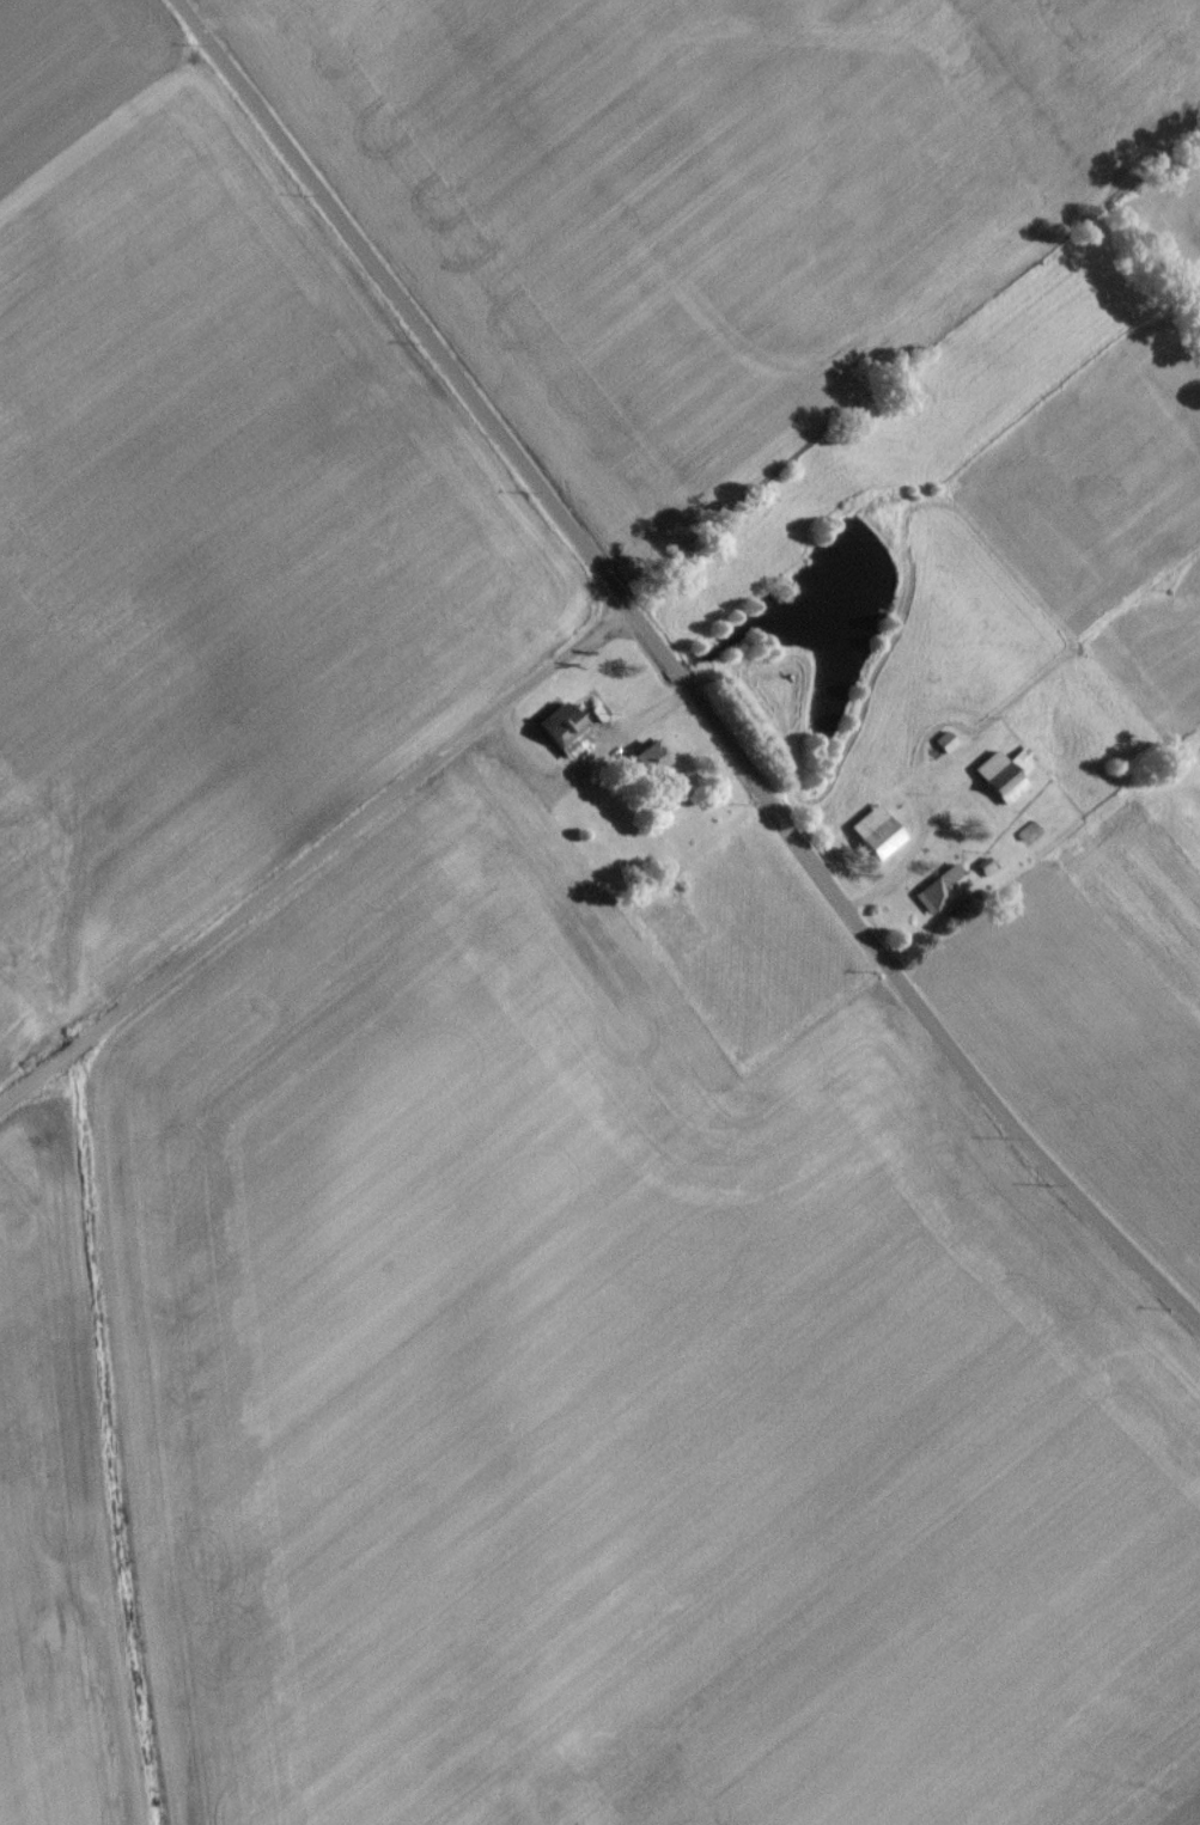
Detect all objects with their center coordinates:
road: (400, 301)
building: (566, 737)
building: (1006, 780)
building: (877, 838)
road: (307, 843)
building: (942, 895)
road: (899, 979)

